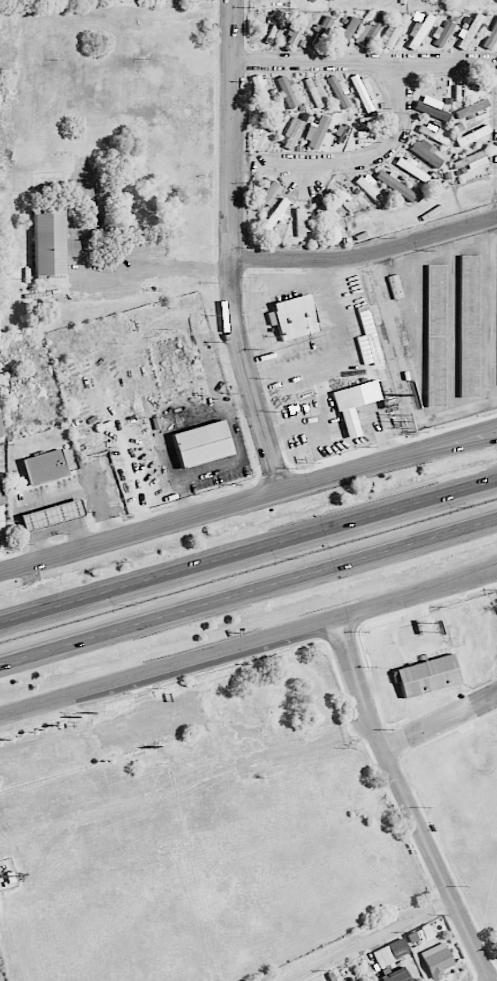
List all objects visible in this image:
building: (297, 30)
building: (322, 31)
building: (470, 31)
building: (368, 32)
building: (392, 32)
building: (420, 32)
building: (441, 33)
building: (343, 34)
building: (491, 36)
road: (316, 62)
road: (449, 64)
building: (338, 91)
building: (363, 91)
building: (286, 92)
building: (314, 94)
building: (431, 107)
building: (471, 108)
road: (230, 128)
building: (316, 132)
building: (292, 133)
building: (425, 152)
building: (471, 160)
road: (353, 161)
building: (409, 167)
building: (396, 185)
building: (370, 189)
building: (266, 196)
building: (276, 213)
building: (329, 217)
building: (301, 223)
building: (50, 243)
road: (365, 254)
road: (159, 261)
road: (261, 293)
building: (294, 316)
road: (489, 316)
building: (468, 326)
road: (453, 327)
road: (418, 328)
building: (435, 336)
building: (368, 338)
road: (342, 349)
road: (247, 374)
road: (268, 399)
building: (354, 403)
building: (0, 426)
road: (338, 426)
road: (452, 439)
building: (201, 443)
road: (452, 447)
road: (323, 450)
building: (44, 466)
building: (1, 497)
road: (203, 512)
building: (51, 514)
gas station: (51, 514)
road: (248, 550)
road: (451, 579)
road: (451, 582)
road: (248, 590)
road: (390, 601)
road: (355, 611)
road: (167, 664)
road: (380, 669)
building: (427, 675)
road: (440, 724)
road: (406, 801)
road: (371, 941)
building: (390, 952)
building: (436, 960)
building: (396, 975)

